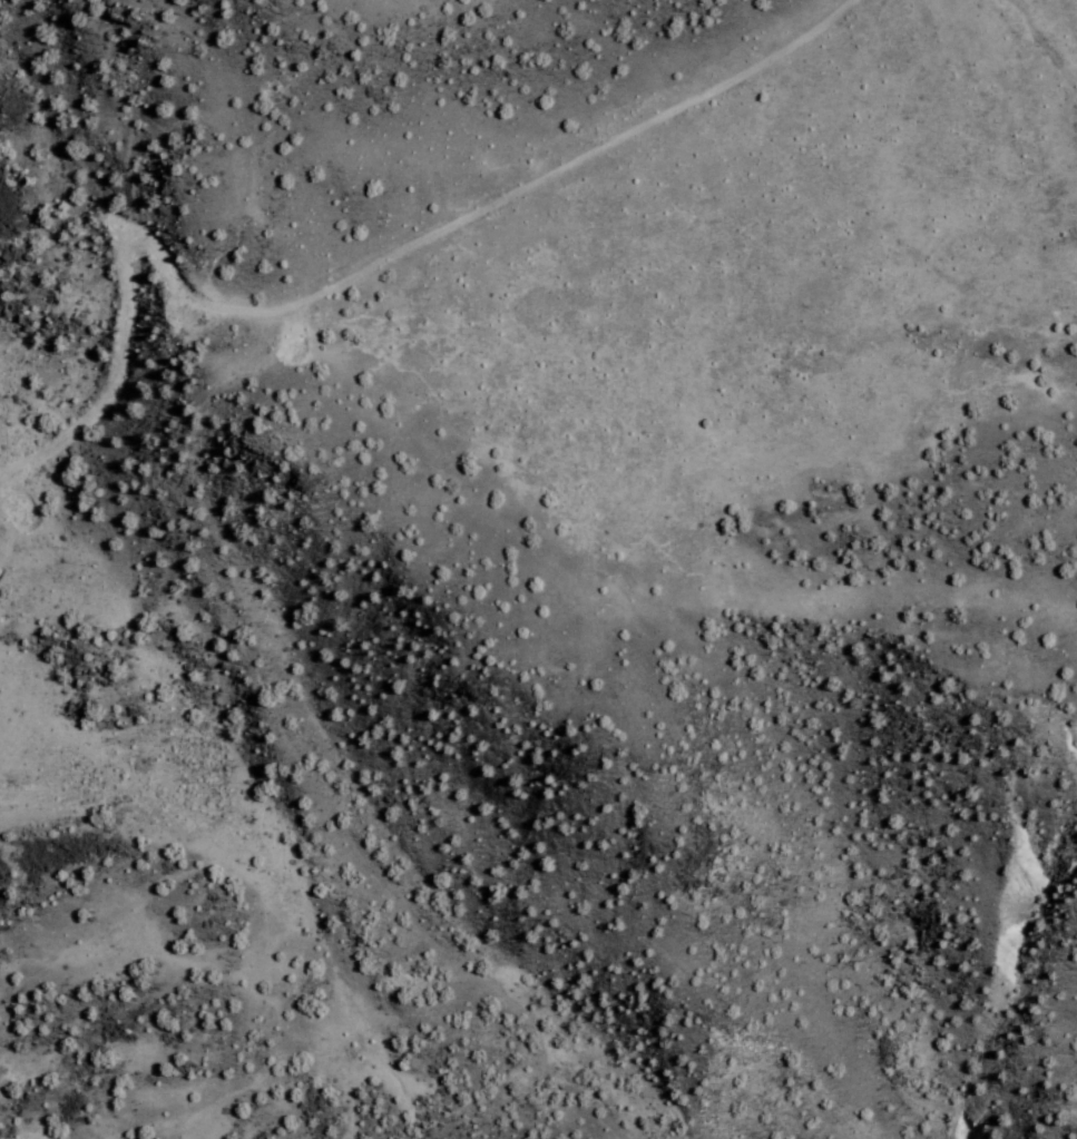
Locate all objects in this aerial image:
road: (688, 725)
road: (228, 886)

